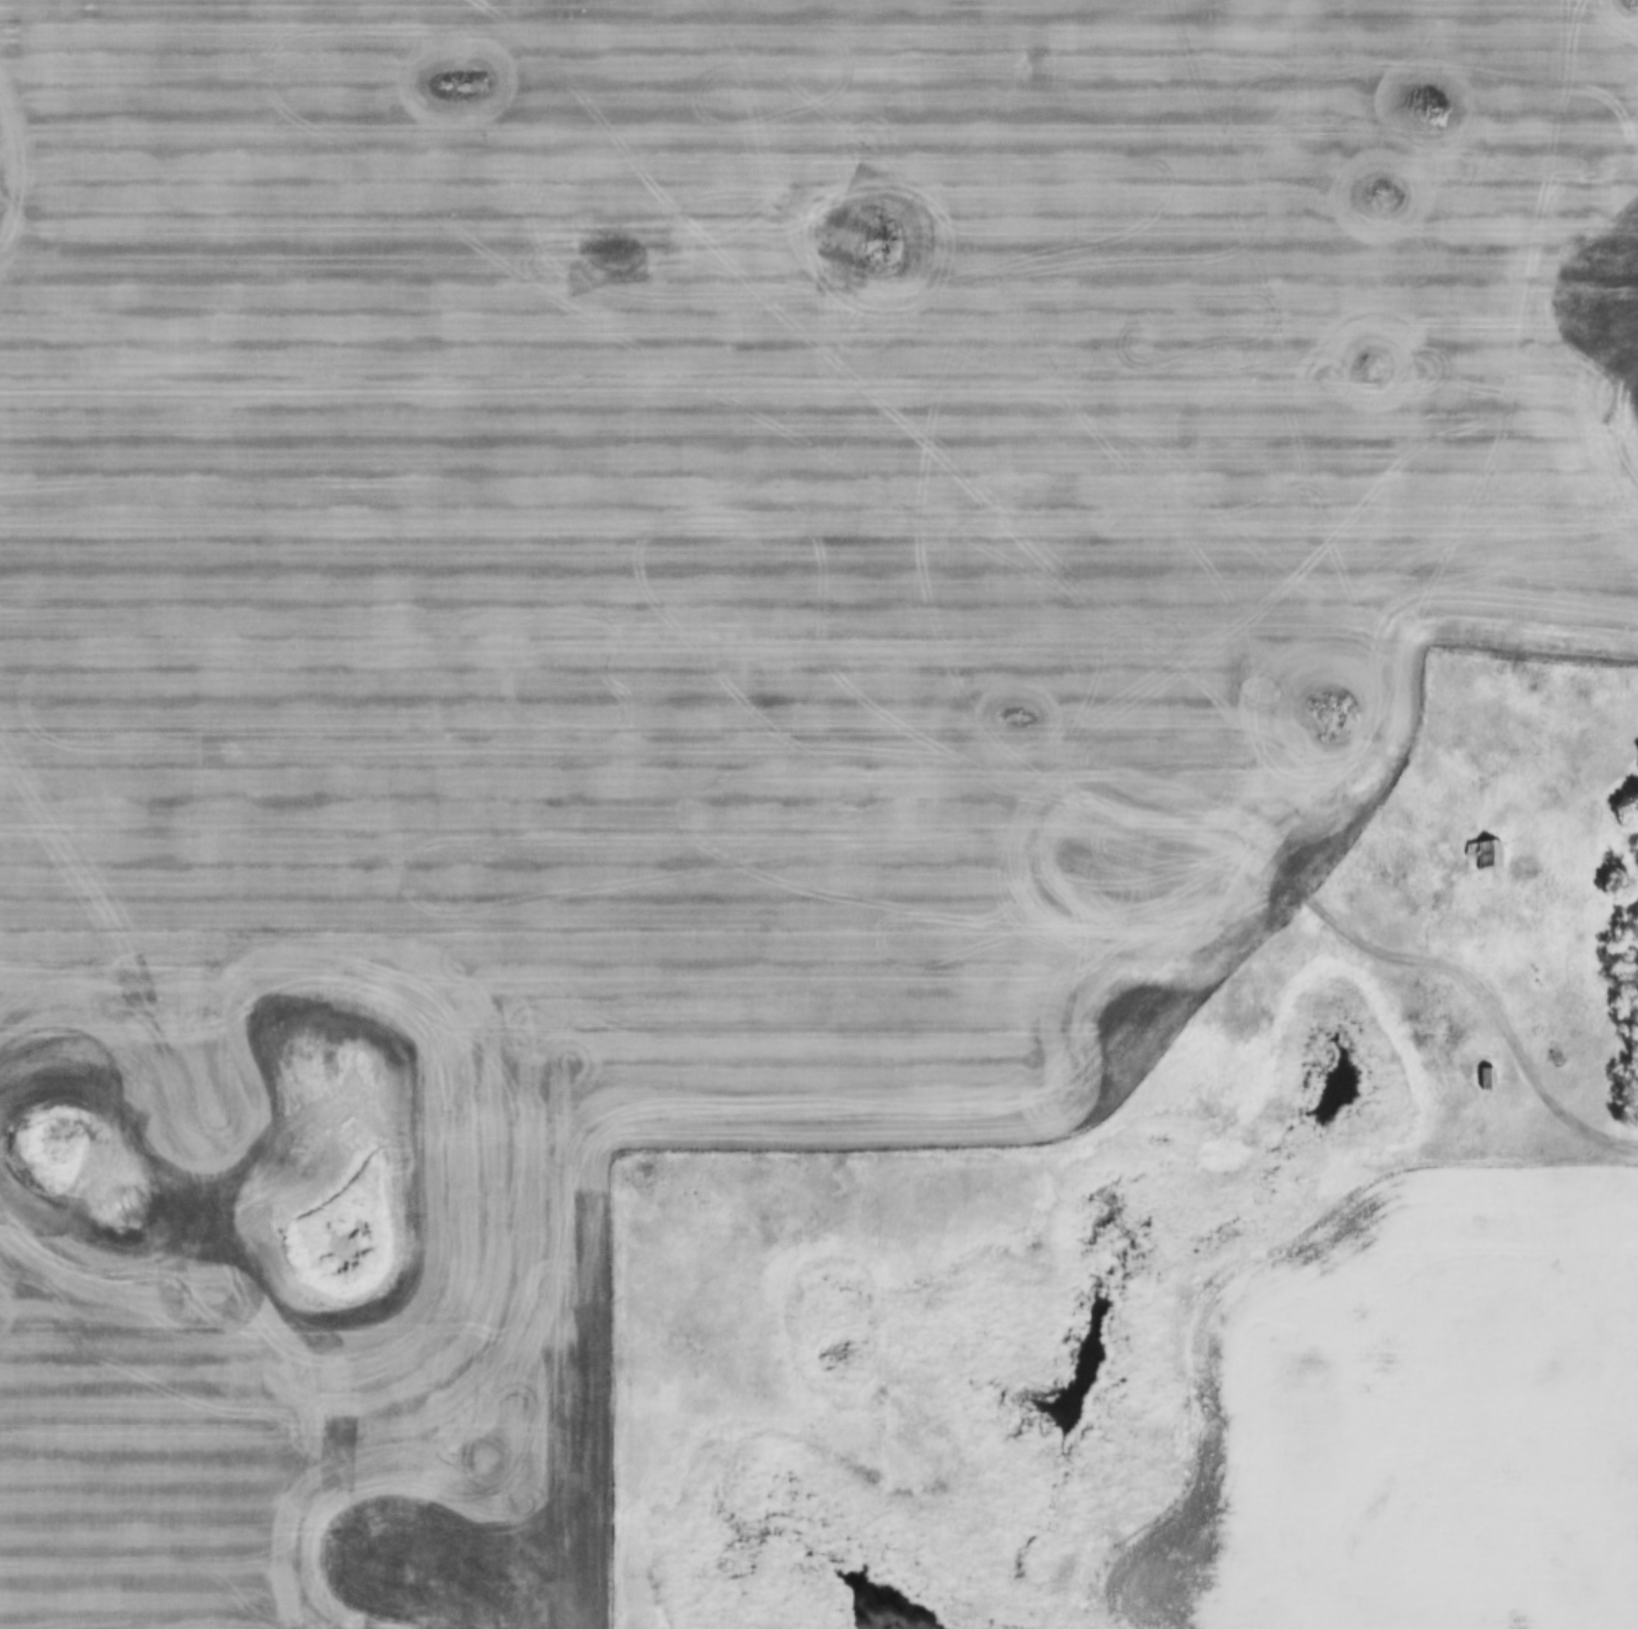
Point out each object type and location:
building: (1494, 855)
road: (1497, 1003)
building: (1493, 1078)

